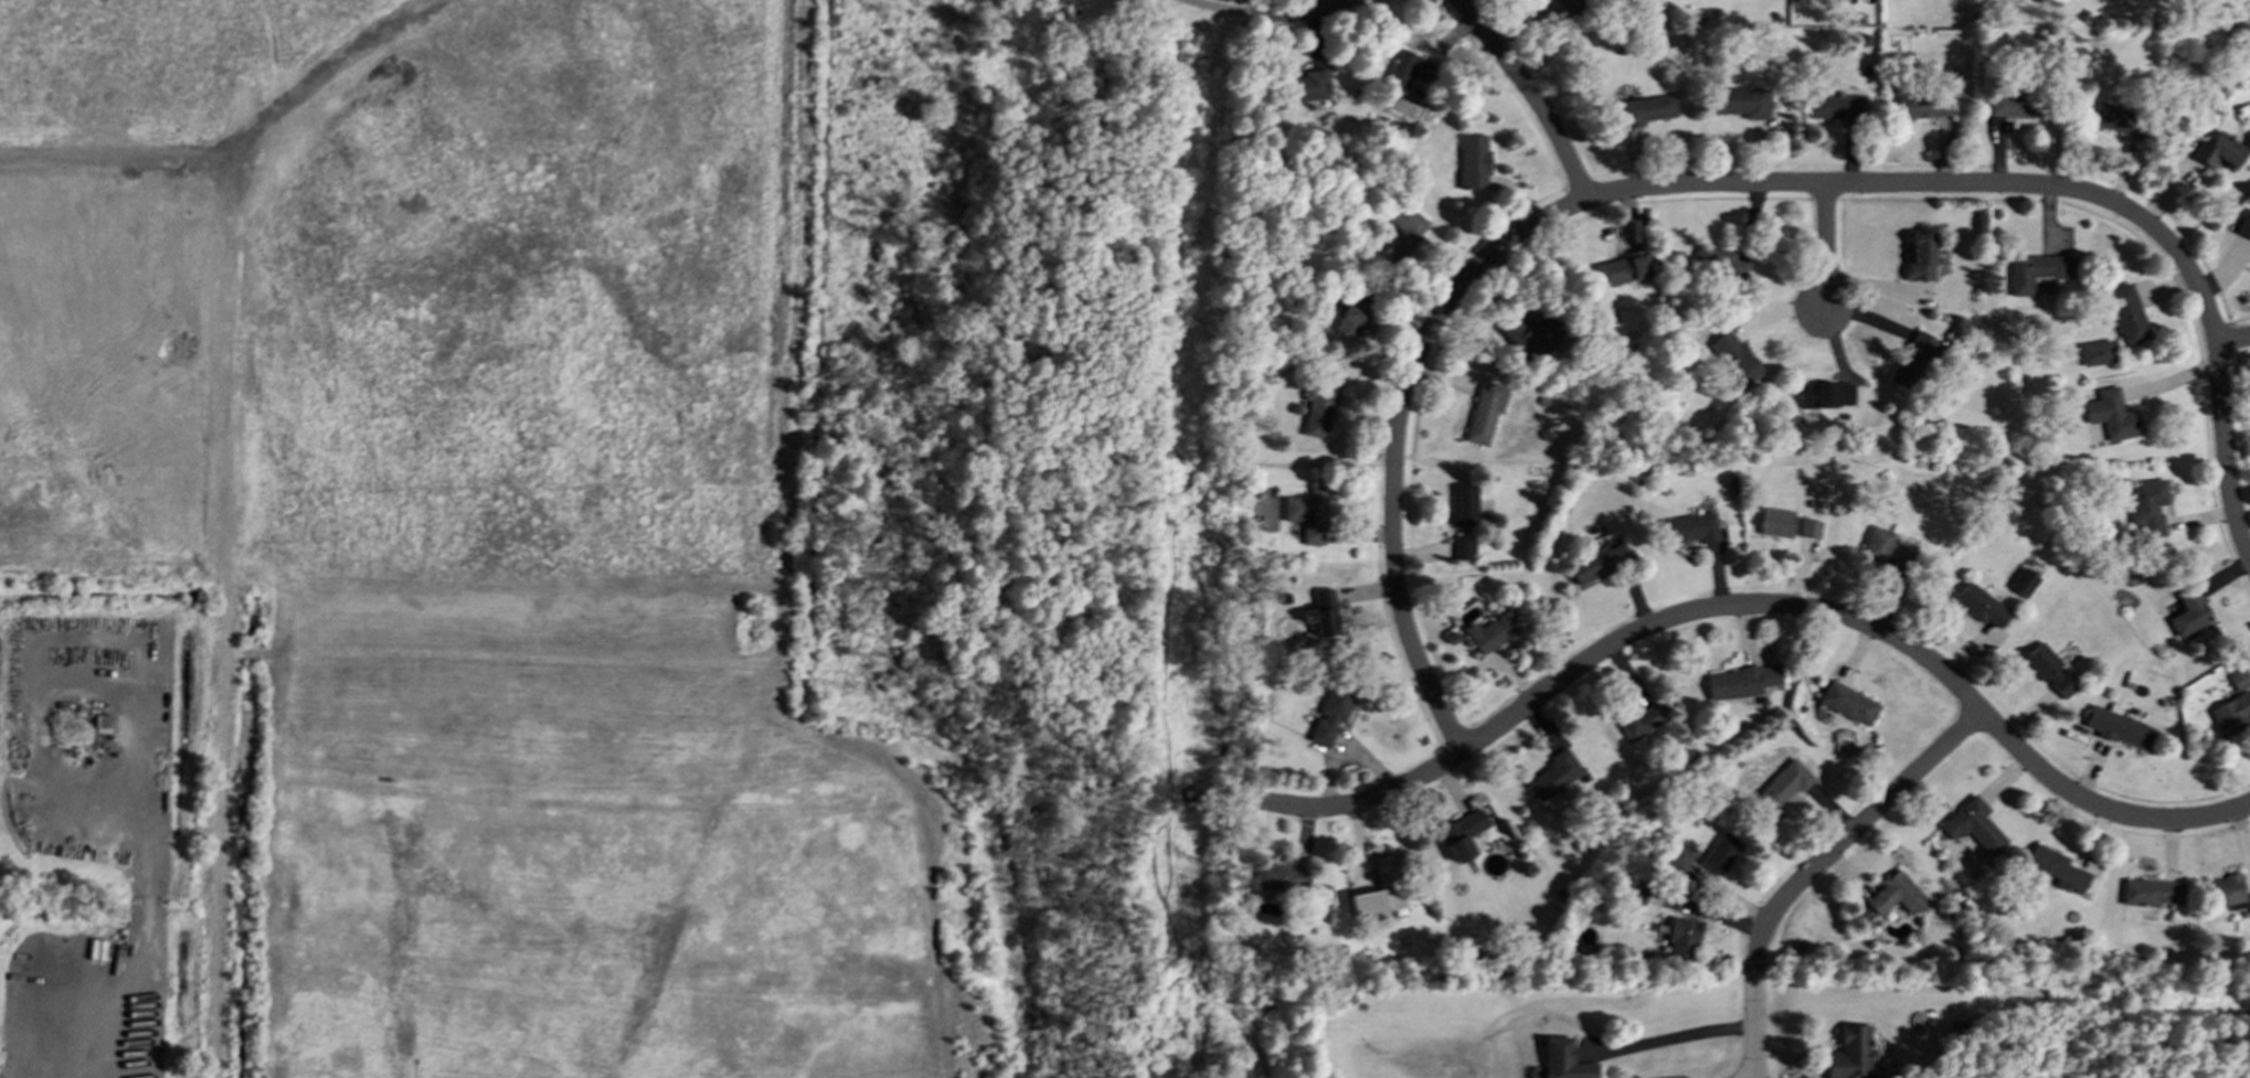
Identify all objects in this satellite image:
building: (1567, 4)
road: (1219, 7)
road: (1296, 11)
building: (1407, 70)
building: (1308, 86)
road: (1530, 94)
building: (1924, 106)
building: (2014, 106)
building: (1747, 107)
building: (1833, 107)
building: (1647, 110)
building: (2119, 120)
building: (2219, 150)
building: (1473, 161)
road: (1939, 185)
building: (2244, 227)
building: (1403, 231)
road: (1826, 248)
building: (1921, 256)
building: (1718, 262)
building: (1621, 269)
building: (2037, 270)
building: (1352, 312)
building: (2126, 314)
building: (1529, 335)
road: (2232, 340)
building: (2097, 353)
building: (1736, 357)
building: (1915, 359)
building: (1824, 394)
building: (1318, 405)
building: (1485, 412)
building: (2112, 415)
road: (1394, 441)
road: (2225, 452)
building: (1464, 504)
building: (2147, 505)
building: (1307, 514)
building: (1776, 522)
building: (1690, 527)
building: (1809, 529)
building: (1463, 547)
building: (1885, 547)
building: (1598, 563)
building: (2025, 579)
building: (1981, 604)
road: (1760, 605)
building: (2189, 612)
building: (1322, 613)
building: (1494, 630)
building: (2049, 670)
building: (2239, 680)
building: (1740, 681)
building: (1848, 703)
building: (2231, 713)
building: (1330, 714)
building: (1638, 719)
building: (2118, 726)
building: (1553, 776)
building: (1784, 783)
building: (1973, 825)
building: (1462, 834)
building: (1720, 854)
building: (1681, 857)
building: (2056, 866)
road: (1813, 869)
building: (1281, 878)
building: (1381, 889)
building: (2151, 893)
building: (2225, 893)
building: (1895, 895)
building: (1681, 938)
road: (1673, 1037)
building: (1563, 1059)

